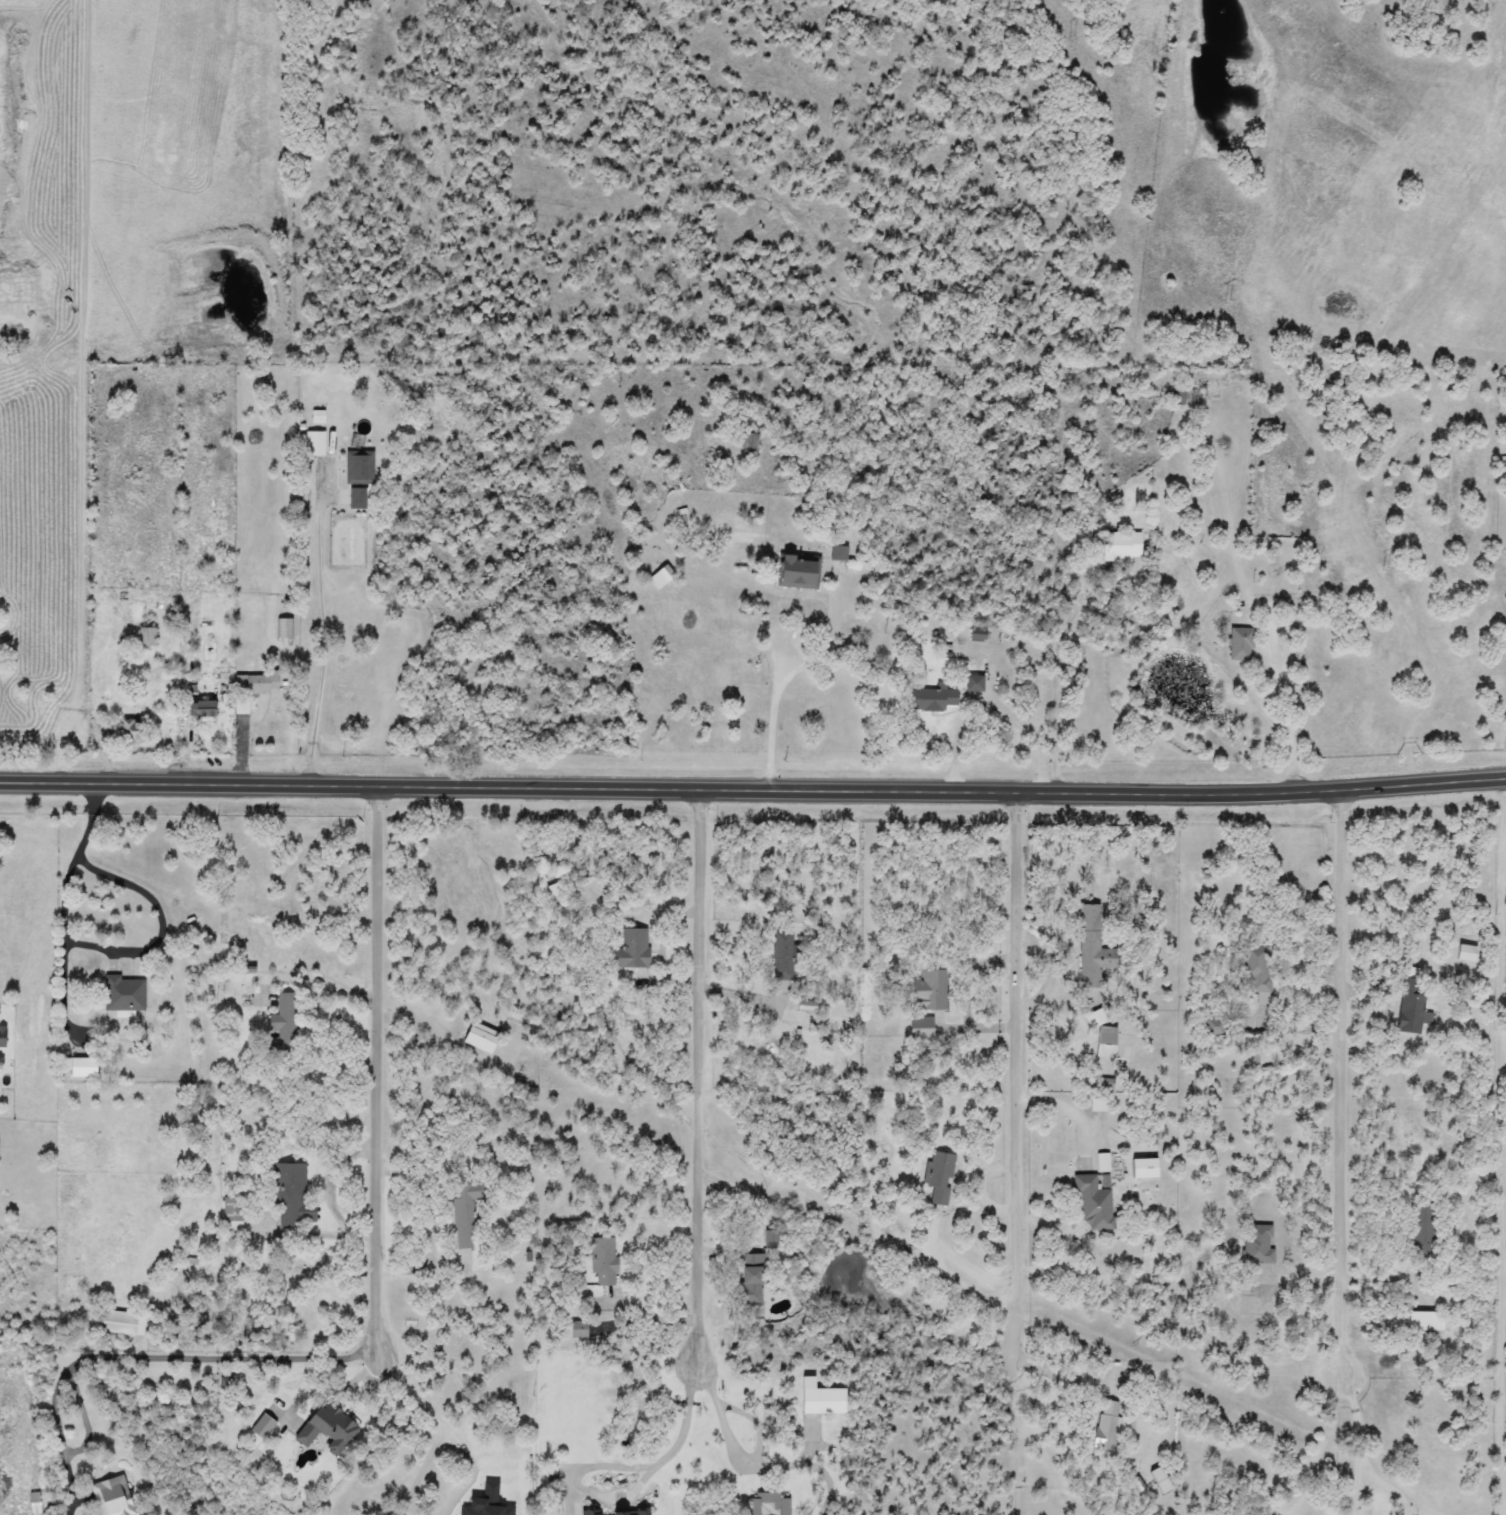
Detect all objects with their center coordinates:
building: (569, 376)
building: (1183, 398)
building: (748, 442)
building: (314, 444)
building: (357, 468)
building: (355, 499)
building: (1119, 546)
building: (796, 573)
building: (284, 629)
road: (327, 631)
building: (975, 635)
building: (146, 638)
building: (1239, 645)
building: (972, 684)
building: (254, 685)
road: (1055, 687)
building: (932, 699)
road: (1288, 705)
building: (196, 712)
road: (776, 716)
building: (129, 733)
road: (753, 788)
road: (99, 946)
building: (1090, 947)
building: (630, 949)
building: (1466, 953)
building: (1257, 972)
building: (928, 990)
building: (123, 994)
building: (804, 1006)
building: (1410, 1006)
road: (315, 1018)
building: (1092, 1021)
building: (1213, 1026)
building: (280, 1028)
building: (919, 1028)
building: (3, 1037)
building: (478, 1037)
building: (82, 1068)
road: (378, 1068)
road: (696, 1072)
road: (1016, 1077)
road: (1341, 1160)
building: (939, 1177)
building: (290, 1196)
road: (1500, 1200)
building: (1093, 1201)
building: (232, 1212)
building: (463, 1216)
building: (1420, 1228)
building: (1256, 1245)
building: (602, 1261)
building: (749, 1280)
building: (1422, 1321)
building: (121, 1322)
road: (225, 1358)
road: (1058, 1378)
building: (818, 1398)
road: (429, 1407)
road: (1360, 1414)
building: (1105, 1425)
building: (325, 1427)
road: (686, 1427)
road: (732, 1436)
building: (1161, 1480)
road: (1390, 1486)
road: (1360, 1489)
building: (111, 1497)
building: (486, 1501)
building: (768, 1503)
building: (590, 1512)
building: (628, 1512)

